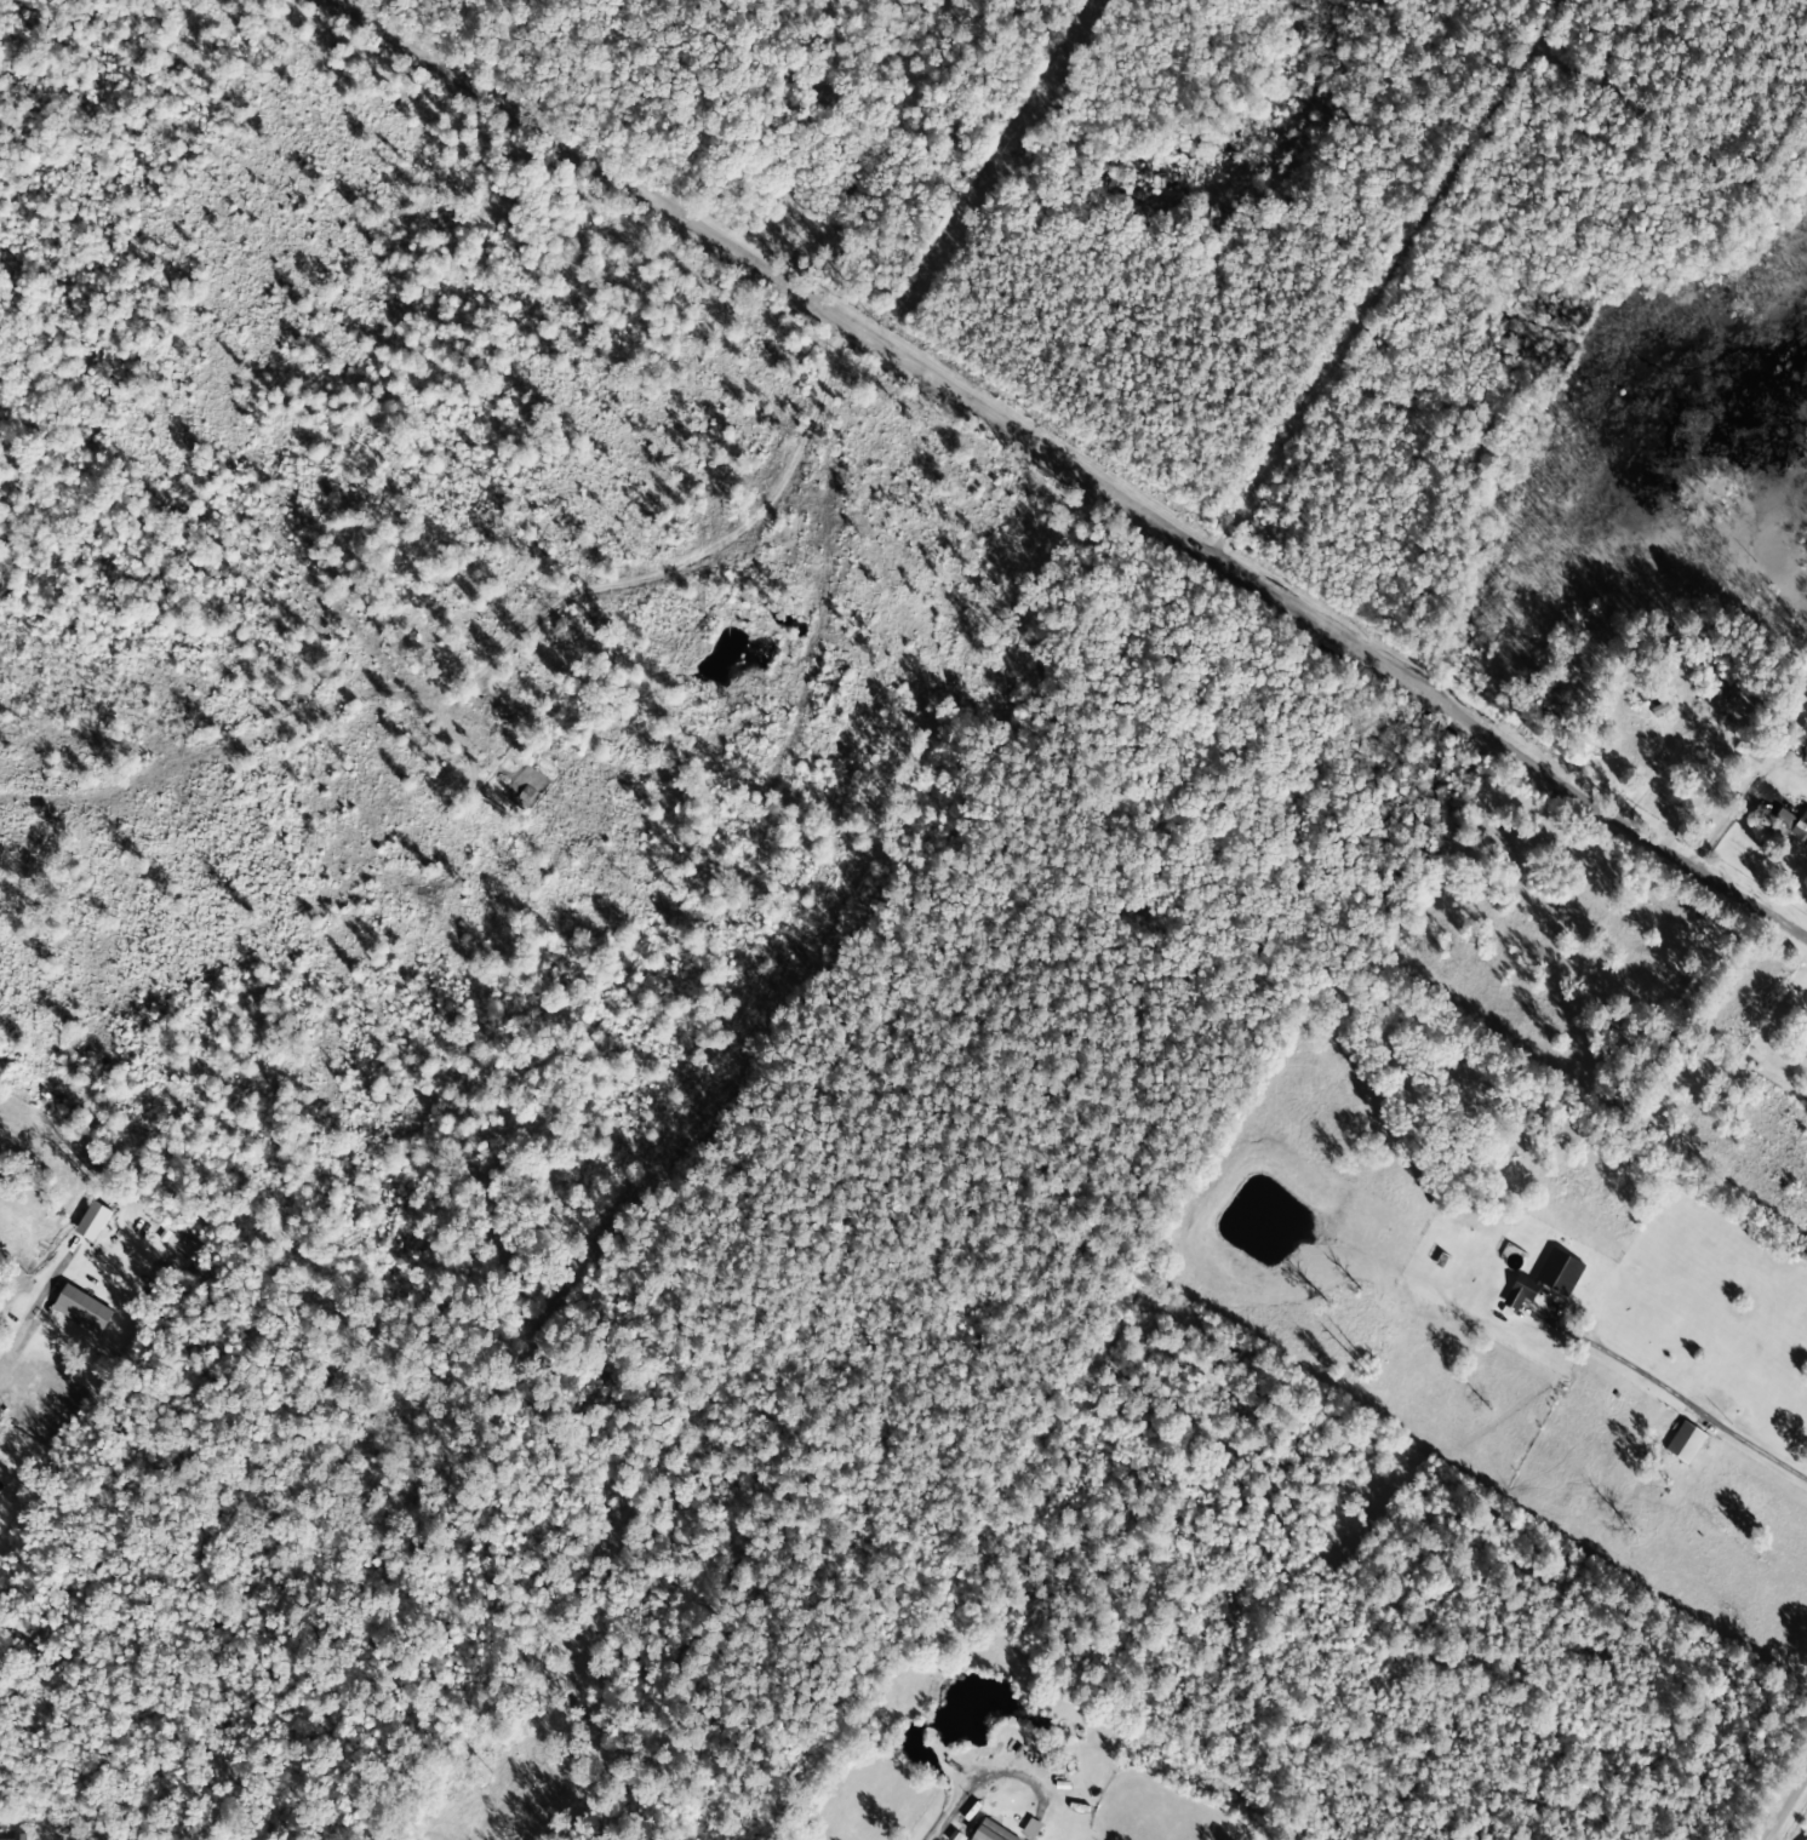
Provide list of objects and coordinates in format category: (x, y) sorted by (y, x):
road: (1081, 471)
building: (1792, 824)
building: (92, 1221)
building: (1545, 1279)
building: (82, 1309)
building: (1683, 1443)
road: (1786, 1806)
building: (990, 1832)
building: (19, 1836)

